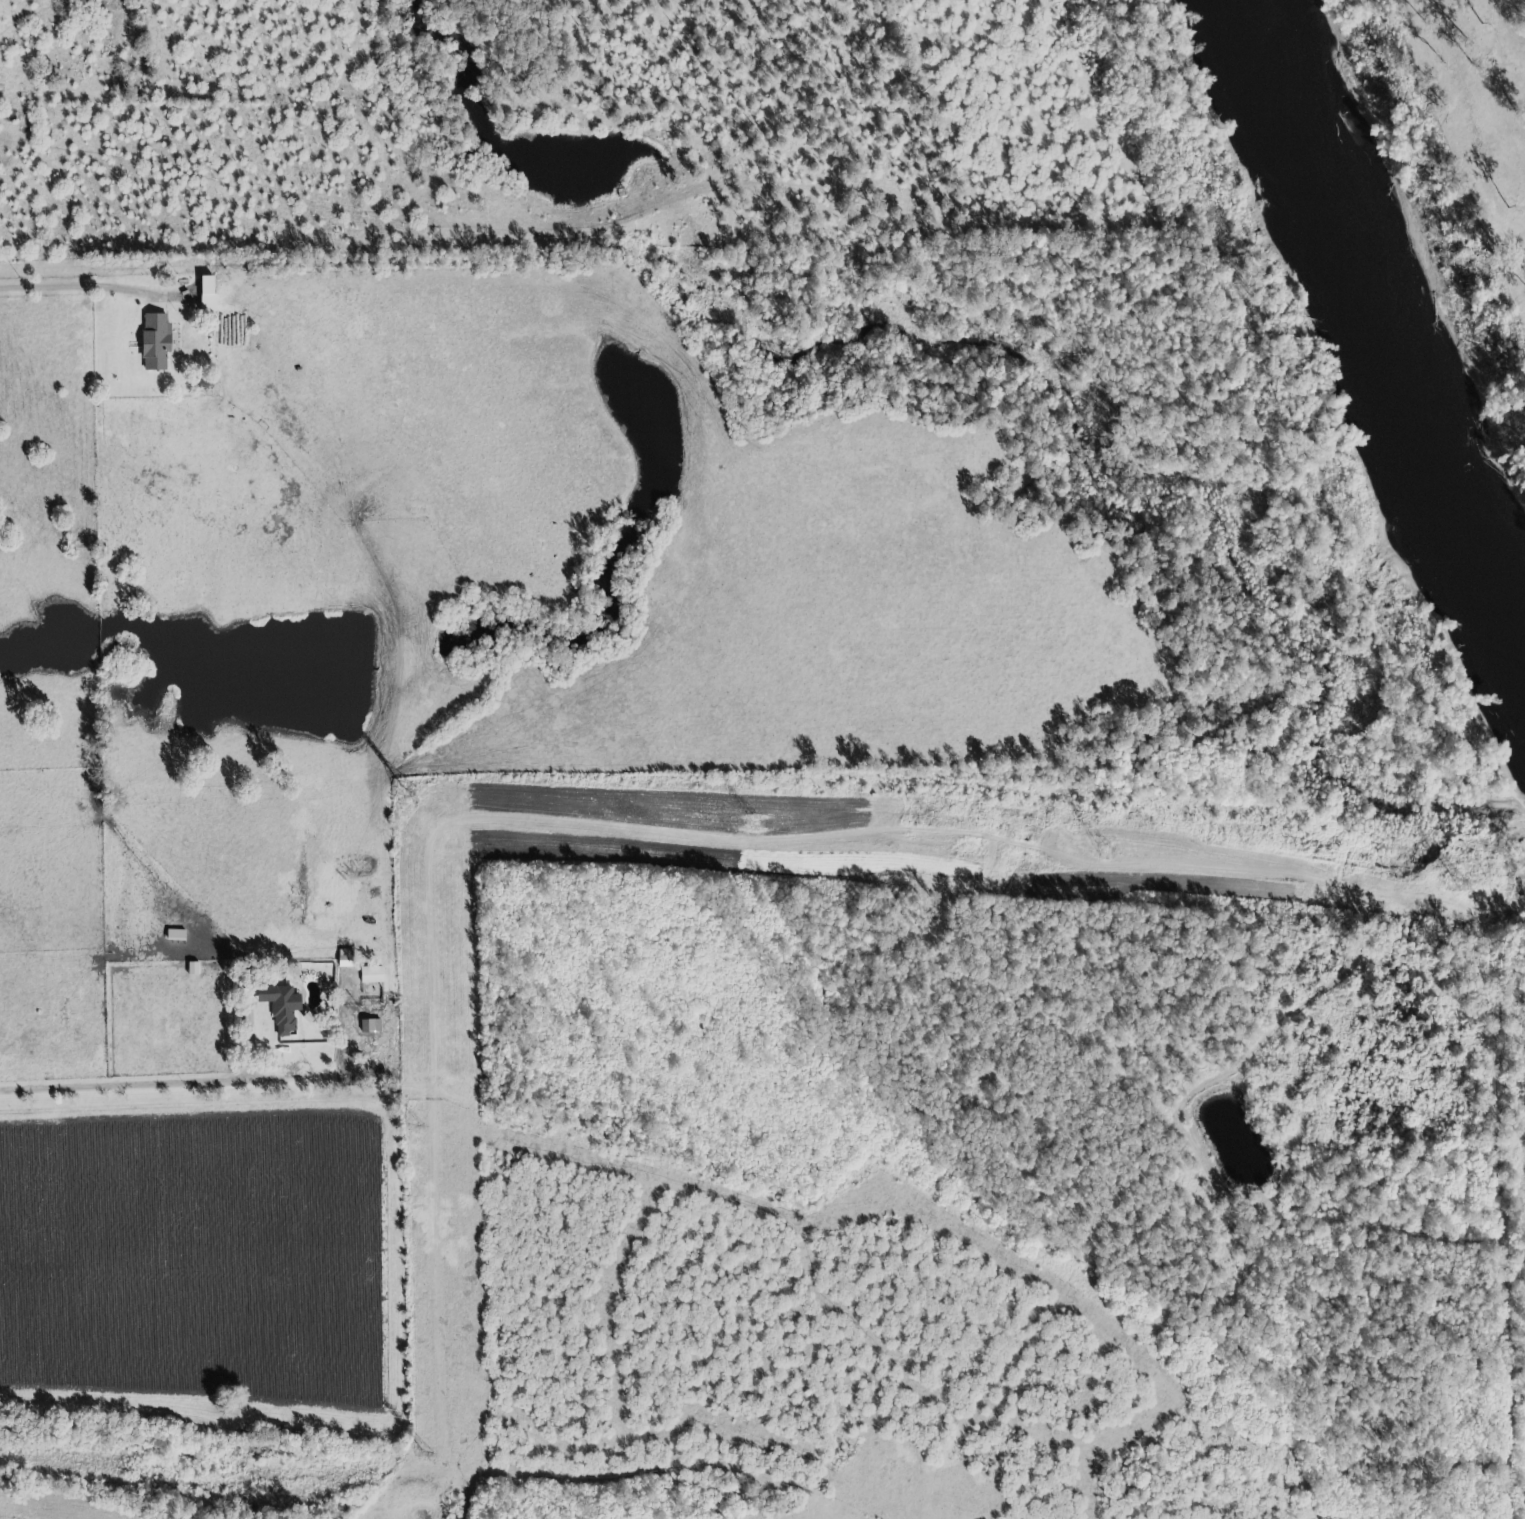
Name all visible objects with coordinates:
road: (68, 292)
building: (208, 294)
river: (1381, 318)
building: (156, 341)
power tower: (406, 797)
power tower: (753, 825)
power tower: (1103, 854)
power tower: (1455, 884)
building: (176, 935)
building: (371, 975)
building: (283, 1011)
road: (192, 1081)
power tower: (412, 1124)
power tower: (425, 1451)

